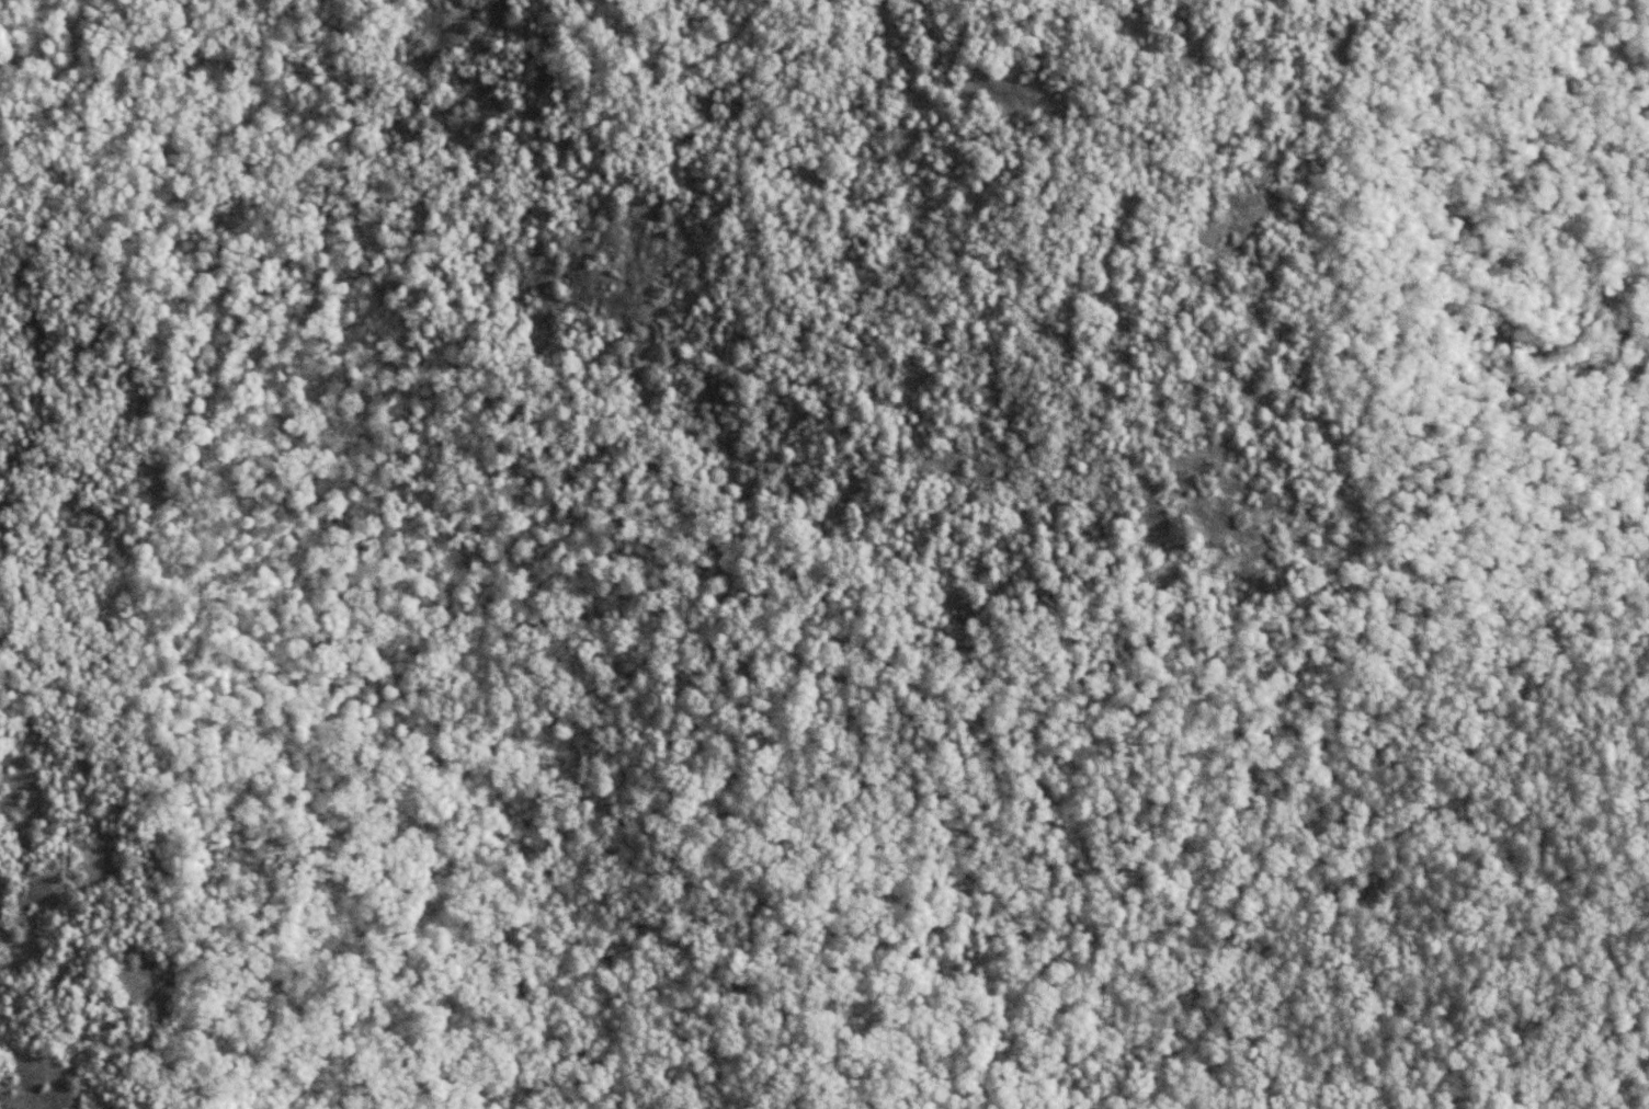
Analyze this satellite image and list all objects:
road: (1622, 1076)

